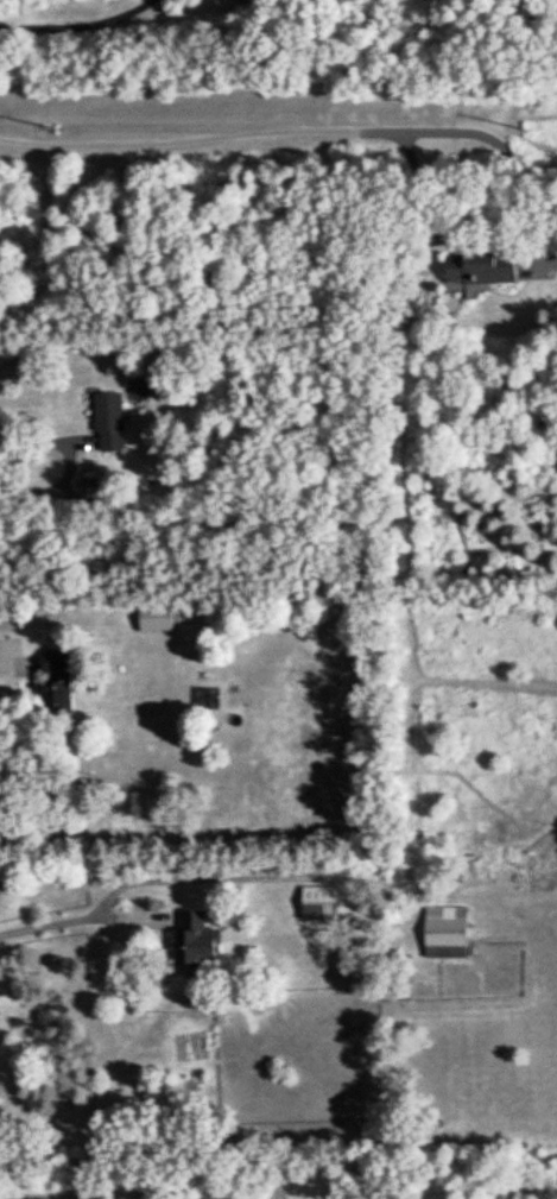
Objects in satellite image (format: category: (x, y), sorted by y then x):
road: (76, 26)
road: (251, 130)
power tower: (56, 133)
power tower: (538, 137)
building: (480, 266)
building: (108, 418)
road: (49, 486)
building: (156, 617)
road: (2, 662)
building: (53, 680)
road: (132, 882)
building: (319, 901)
building: (445, 929)
building: (192, 938)
road: (124, 1195)

